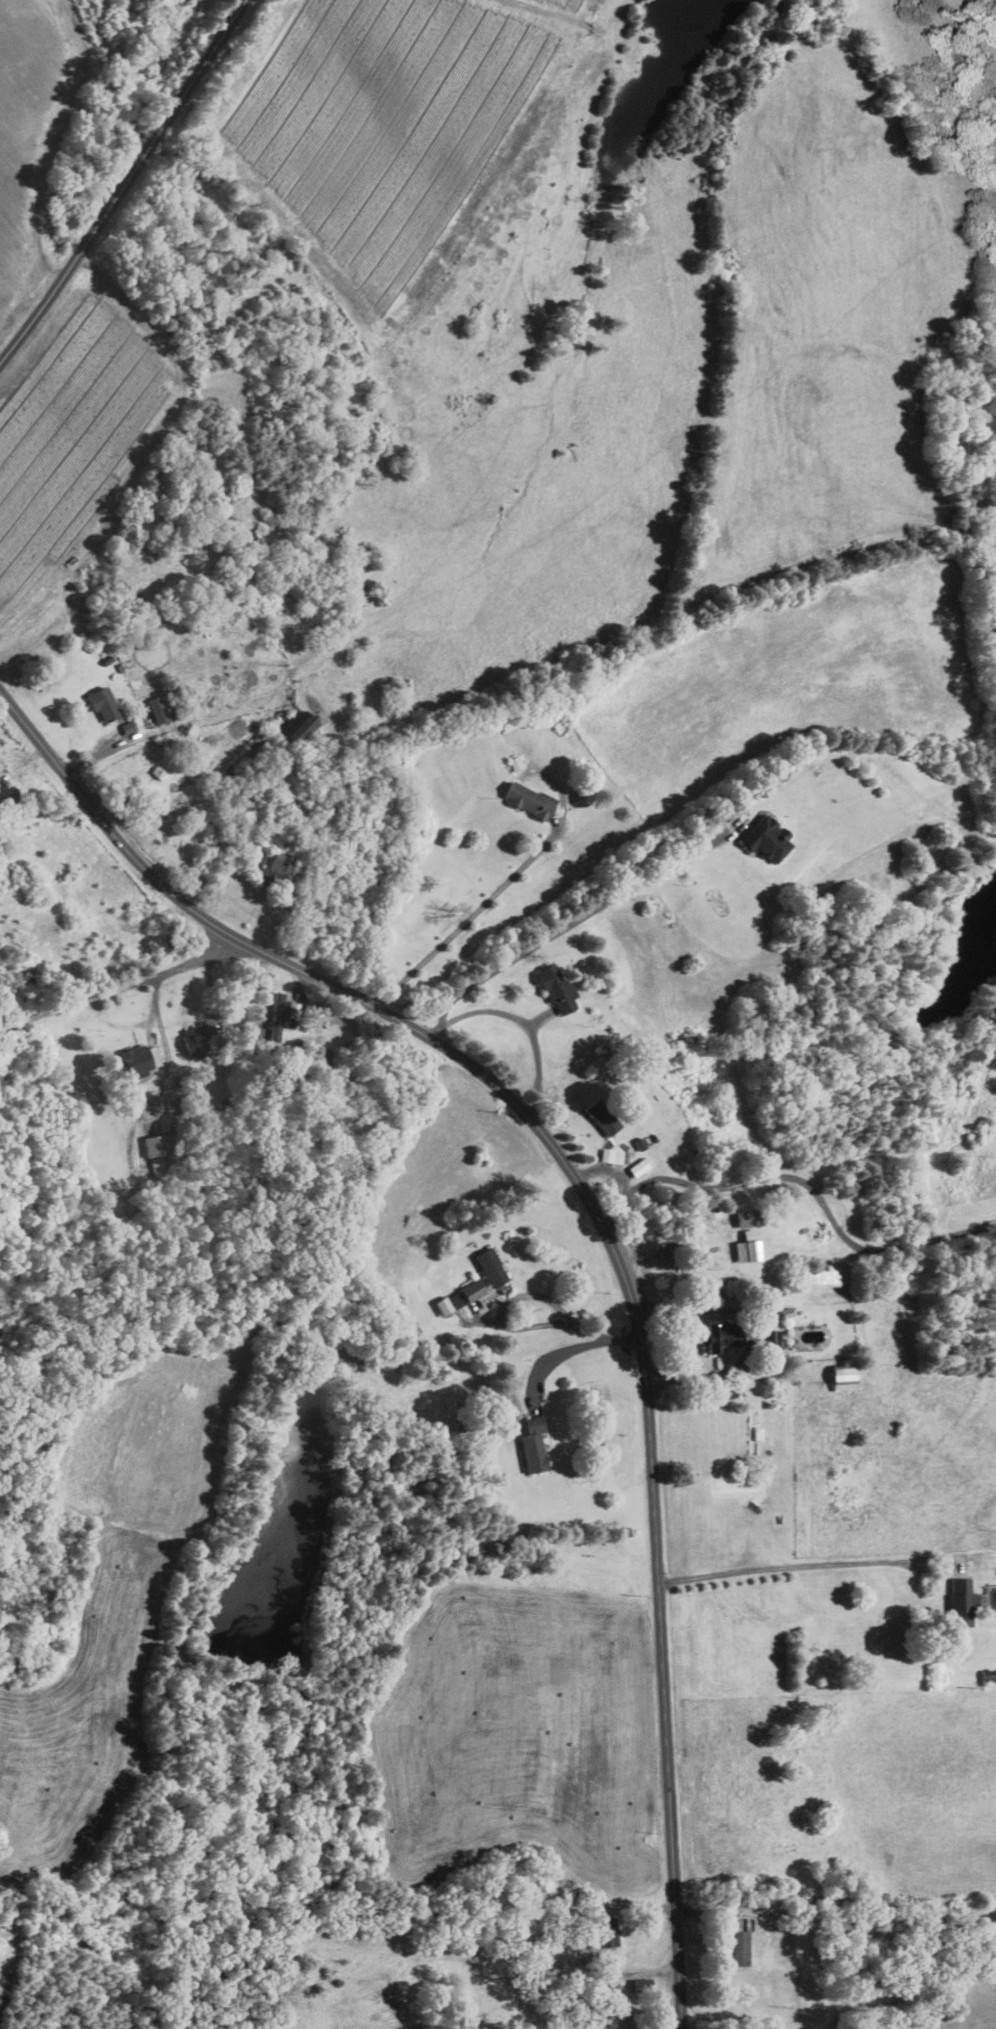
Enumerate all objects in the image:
road: (125, 184)
building: (103, 704)
building: (158, 709)
building: (128, 727)
building: (296, 729)
building: (516, 763)
building: (528, 800)
building: (768, 839)
building: (273, 865)
road: (466, 920)
road: (562, 930)
building: (161, 943)
road: (121, 989)
building: (557, 989)
building: (280, 1006)
building: (294, 1008)
road: (530, 1031)
building: (196, 1040)
building: (140, 1060)
road: (168, 1063)
building: (603, 1117)
building: (156, 1155)
building: (639, 1167)
road: (799, 1180)
building: (747, 1217)
road: (600, 1222)
building: (748, 1246)
building: (492, 1266)
building: (823, 1276)
building: (460, 1296)
road: (504, 1325)
road: (758, 1328)
building: (722, 1334)
building: (773, 1337)
road: (621, 1340)
road: (554, 1357)
building: (845, 1376)
building: (534, 1444)
road: (839, 1563)
building: (963, 1601)
building: (608, 1933)
road: (569, 1942)
building: (741, 1948)

